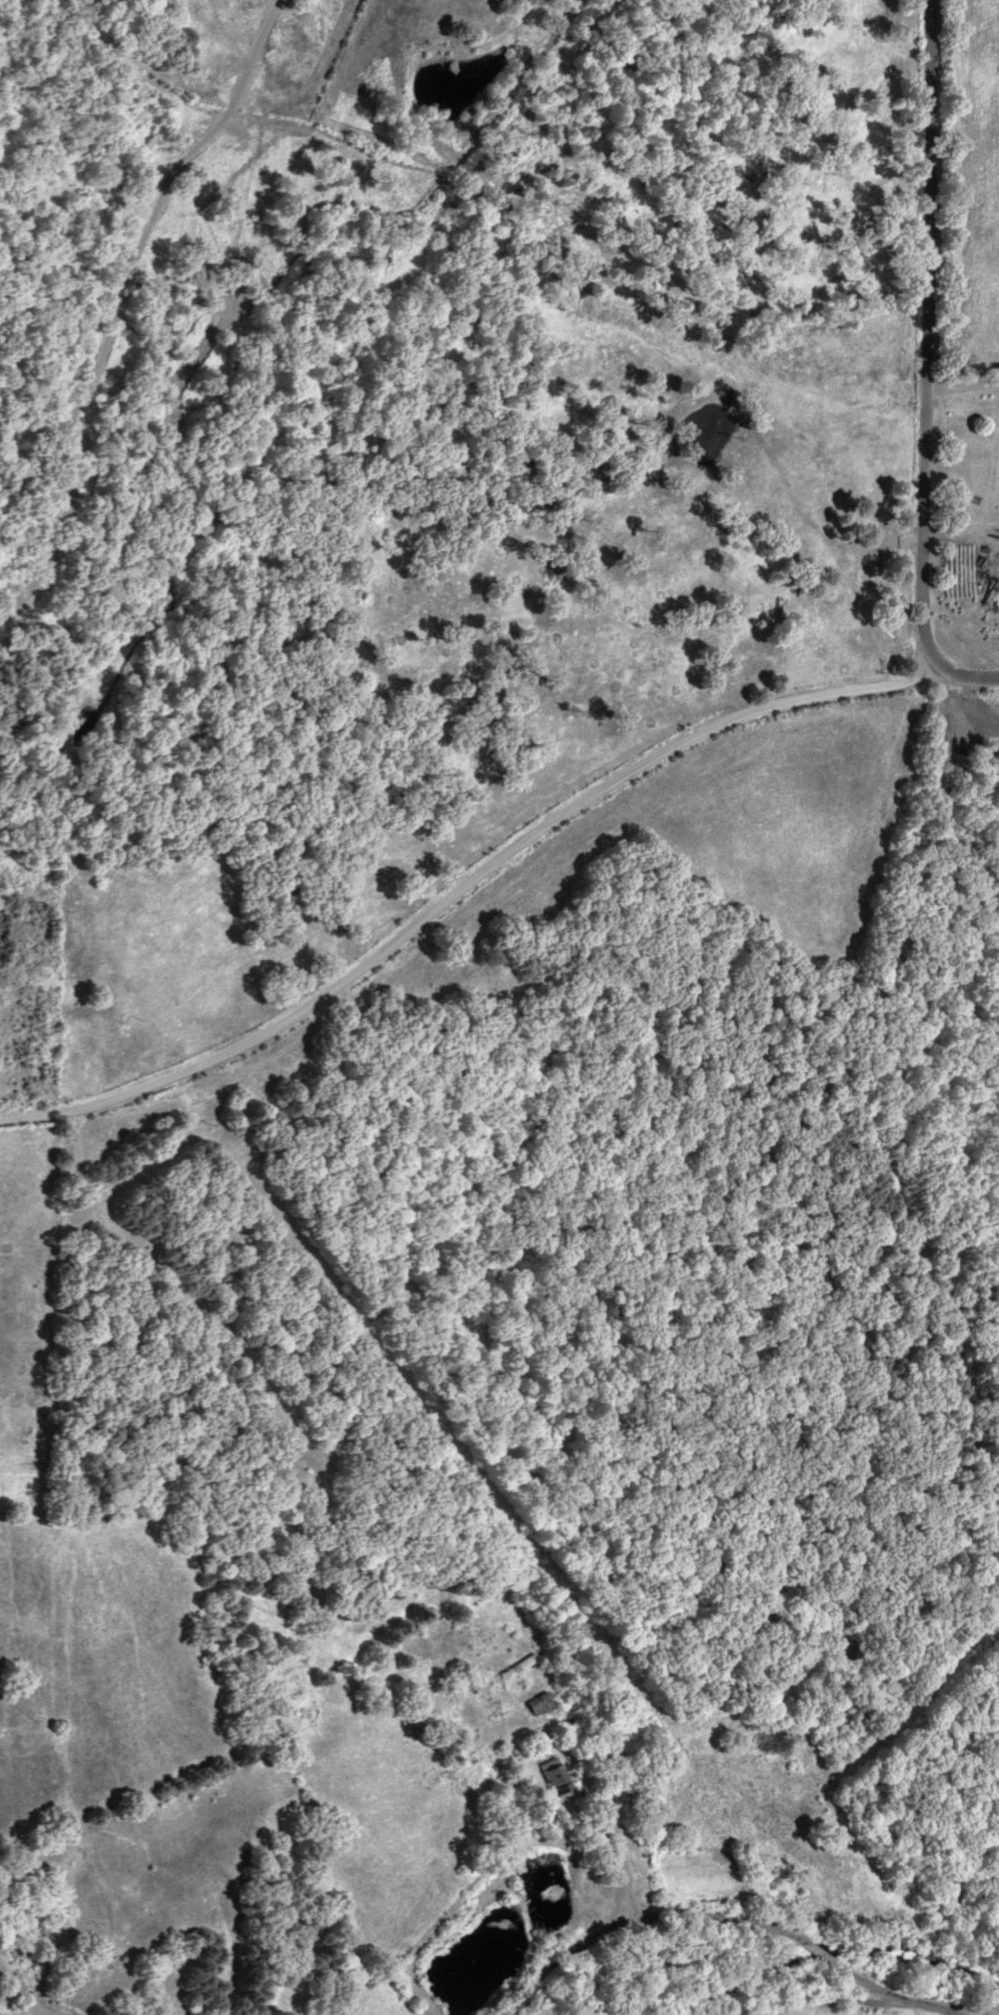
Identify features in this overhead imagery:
road: (921, 336)
road: (960, 379)
road: (960, 524)
road: (960, 680)
road: (458, 893)
building: (514, 1665)
building: (544, 1775)
road: (613, 1844)
road: (635, 1917)
road: (823, 1953)
road: (895, 1994)
road: (25, 1995)

